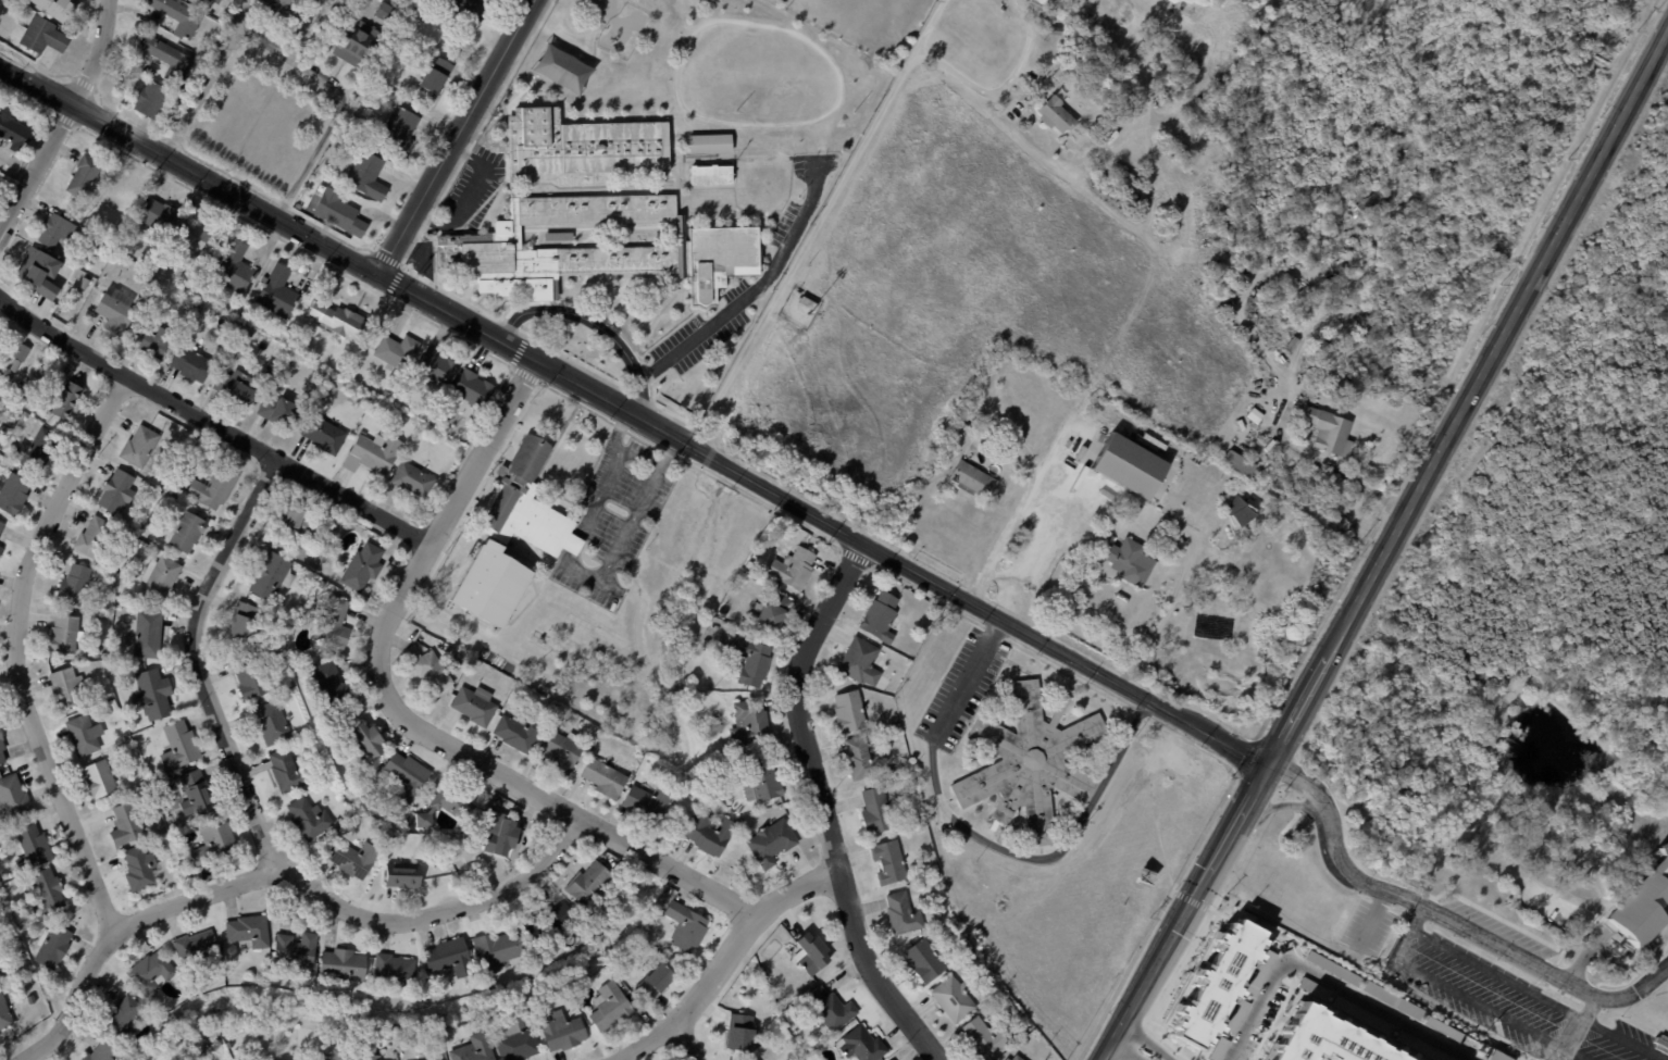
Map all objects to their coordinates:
building: (292, 0)
building: (216, 1)
building: (1048, 3)
building: (343, 4)
building: (281, 5)
building: (52, 9)
building: (472, 10)
building: (384, 11)
building: (177, 15)
building: (1050, 17)
building: (422, 23)
building: (433, 29)
building: (1054, 30)
building: (41, 36)
road: (262, 41)
building: (356, 42)
building: (163, 55)
building: (1240, 58)
road: (34, 66)
building: (561, 66)
building: (1069, 66)
park: (561, 67)
building: (1170, 67)
track: (755, 75)
building: (436, 76)
road: (207, 78)
road: (83, 83)
road: (1003, 89)
road: (25, 98)
building: (150, 100)
road: (338, 101)
building: (414, 108)
building: (1056, 114)
road: (63, 119)
road: (63, 120)
building: (398, 130)
building: (14, 133)
road: (456, 137)
building: (708, 144)
building: (1182, 146)
building: (393, 158)
road: (227, 174)
building: (709, 174)
building: (366, 175)
building: (83, 176)
parking lot: (472, 192)
road: (469, 197)
building: (710, 200)
building: (1369, 201)
road: (265, 212)
building: (337, 212)
building: (592, 214)
building: (158, 216)
parking lot: (785, 223)
road: (818, 224)
building: (53, 230)
building: (188, 241)
road: (292, 246)
road: (385, 258)
building: (49, 261)
building: (29, 264)
road: (401, 266)
building: (234, 269)
road: (394, 282)
building: (83, 284)
parking lot: (735, 291)
road: (752, 291)
building: (276, 294)
road: (452, 295)
building: (195, 299)
building: (805, 302)
building: (188, 308)
building: (199, 310)
building: (114, 311)
building: (235, 313)
building: (337, 321)
road: (594, 324)
road: (509, 326)
building: (0, 331)
building: (247, 332)
road: (521, 334)
building: (151, 340)
parking lot: (696, 340)
building: (1291, 345)
building: (20, 350)
road: (518, 351)
building: (396, 352)
building: (14, 364)
building: (190, 364)
building: (271, 364)
building: (436, 369)
road: (525, 374)
building: (234, 388)
building: (472, 389)
building: (22, 394)
building: (385, 395)
building: (65, 399)
building: (277, 412)
building: (1253, 415)
road: (212, 425)
building: (1328, 431)
road: (617, 432)
building: (323, 435)
building: (955, 439)
building: (138, 446)
building: (36, 448)
road: (667, 453)
building: (373, 454)
road: (638, 459)
building: (1237, 462)
road: (689, 465)
building: (1126, 466)
building: (412, 481)
building: (973, 481)
building: (212, 487)
road: (459, 488)
building: (115, 491)
building: (13, 494)
road: (598, 496)
building: (523, 501)
road: (468, 503)
road: (1018, 507)
building: (1242, 514)
parking lot: (617, 515)
building: (138, 524)
building: (301, 524)
building: (1, 525)
road: (1056, 526)
building: (185, 531)
building: (92, 537)
building: (570, 544)
building: (144, 545)
road: (573, 546)
road: (1387, 547)
building: (0, 548)
road: (617, 551)
road: (856, 556)
building: (1126, 560)
building: (114, 563)
road: (898, 563)
building: (362, 566)
building: (793, 568)
building: (271, 575)
building: (160, 577)
building: (490, 583)
building: (73, 584)
road: (1175, 590)
road: (928, 596)
building: (117, 607)
building: (774, 610)
building: (881, 616)
building: (242, 621)
building: (333, 622)
road: (993, 632)
building: (64, 633)
building: (147, 634)
road: (16, 650)
building: (120, 659)
building: (749, 659)
building: (860, 661)
road: (197, 663)
building: (428, 669)
building: (250, 676)
building: (545, 678)
building: (328, 682)
building: (65, 686)
building: (294, 689)
parking lot: (960, 689)
building: (152, 694)
building: (285, 700)
building: (112, 704)
building: (474, 704)
building: (849, 711)
building: (272, 722)
building: (750, 722)
building: (518, 732)
building: (83, 734)
building: (125, 736)
building: (366, 743)
building: (1, 745)
building: (179, 745)
building: (561, 751)
building: (861, 759)
building: (1029, 763)
building: (893, 769)
building: (287, 771)
building: (407, 775)
building: (27, 776)
building: (603, 777)
building: (99, 780)
building: (762, 781)
road: (530, 791)
building: (195, 794)
building: (12, 796)
road: (1222, 799)
building: (647, 802)
building: (447, 806)
road: (822, 807)
building: (877, 811)
building: (308, 818)
road: (1314, 818)
building: (125, 825)
building: (498, 832)
building: (710, 834)
road: (981, 838)
building: (213, 840)
building: (771, 843)
building: (30, 847)
building: (351, 858)
building: (443, 861)
building: (889, 862)
building: (138, 869)
road: (283, 875)
building: (402, 875)
building: (971, 875)
building: (589, 885)
building: (47, 889)
road: (1415, 897)
building: (1641, 903)
building: (903, 913)
building: (1244, 916)
road: (1414, 919)
road: (1371, 920)
building: (549, 921)
building: (686, 926)
parking lot: (1367, 927)
building: (248, 930)
road: (1423, 935)
road: (1474, 938)
building: (51, 946)
building: (195, 948)
building: (295, 948)
building: (496, 950)
building: (970, 952)
building: (811, 953)
building: (448, 957)
road: (723, 960)
building: (925, 960)
building: (341, 967)
building: (1332, 968)
building: (394, 971)
building: (149, 972)
building: (1259, 973)
building: (185, 975)
building: (188, 982)
building: (655, 982)
road: (1329, 982)
building: (1217, 983)
building: (1312, 987)
building: (955, 998)
parking lot: (1506, 998)
building: (1391, 999)
building: (612, 1006)
building: (827, 1008)
building: (1012, 1010)
building: (4, 1013)
building: (1359, 1014)
building: (1235, 1015)
building: (122, 1019)
building: (477, 1023)
road: (1576, 1023)
building: (1441, 1028)
building: (562, 1032)
building: (742, 1034)
road: (1125, 1034)
building: (984, 1037)
building: (1324, 1038)
building: (515, 1039)
road: (689, 1042)
building: (860, 1044)
building: (1419, 1047)
building: (1218, 1048)
building: (474, 1049)
building: (102, 1052)
building: (338, 1052)
building: (431, 1055)
building: (1498, 1056)
building: (368, 1057)
building: (1017, 1058)
building: (754, 1059)
building: (893, 1059)
building: (1008, 1059)
road: (1166, 1059)
road: (1168, 1059)

